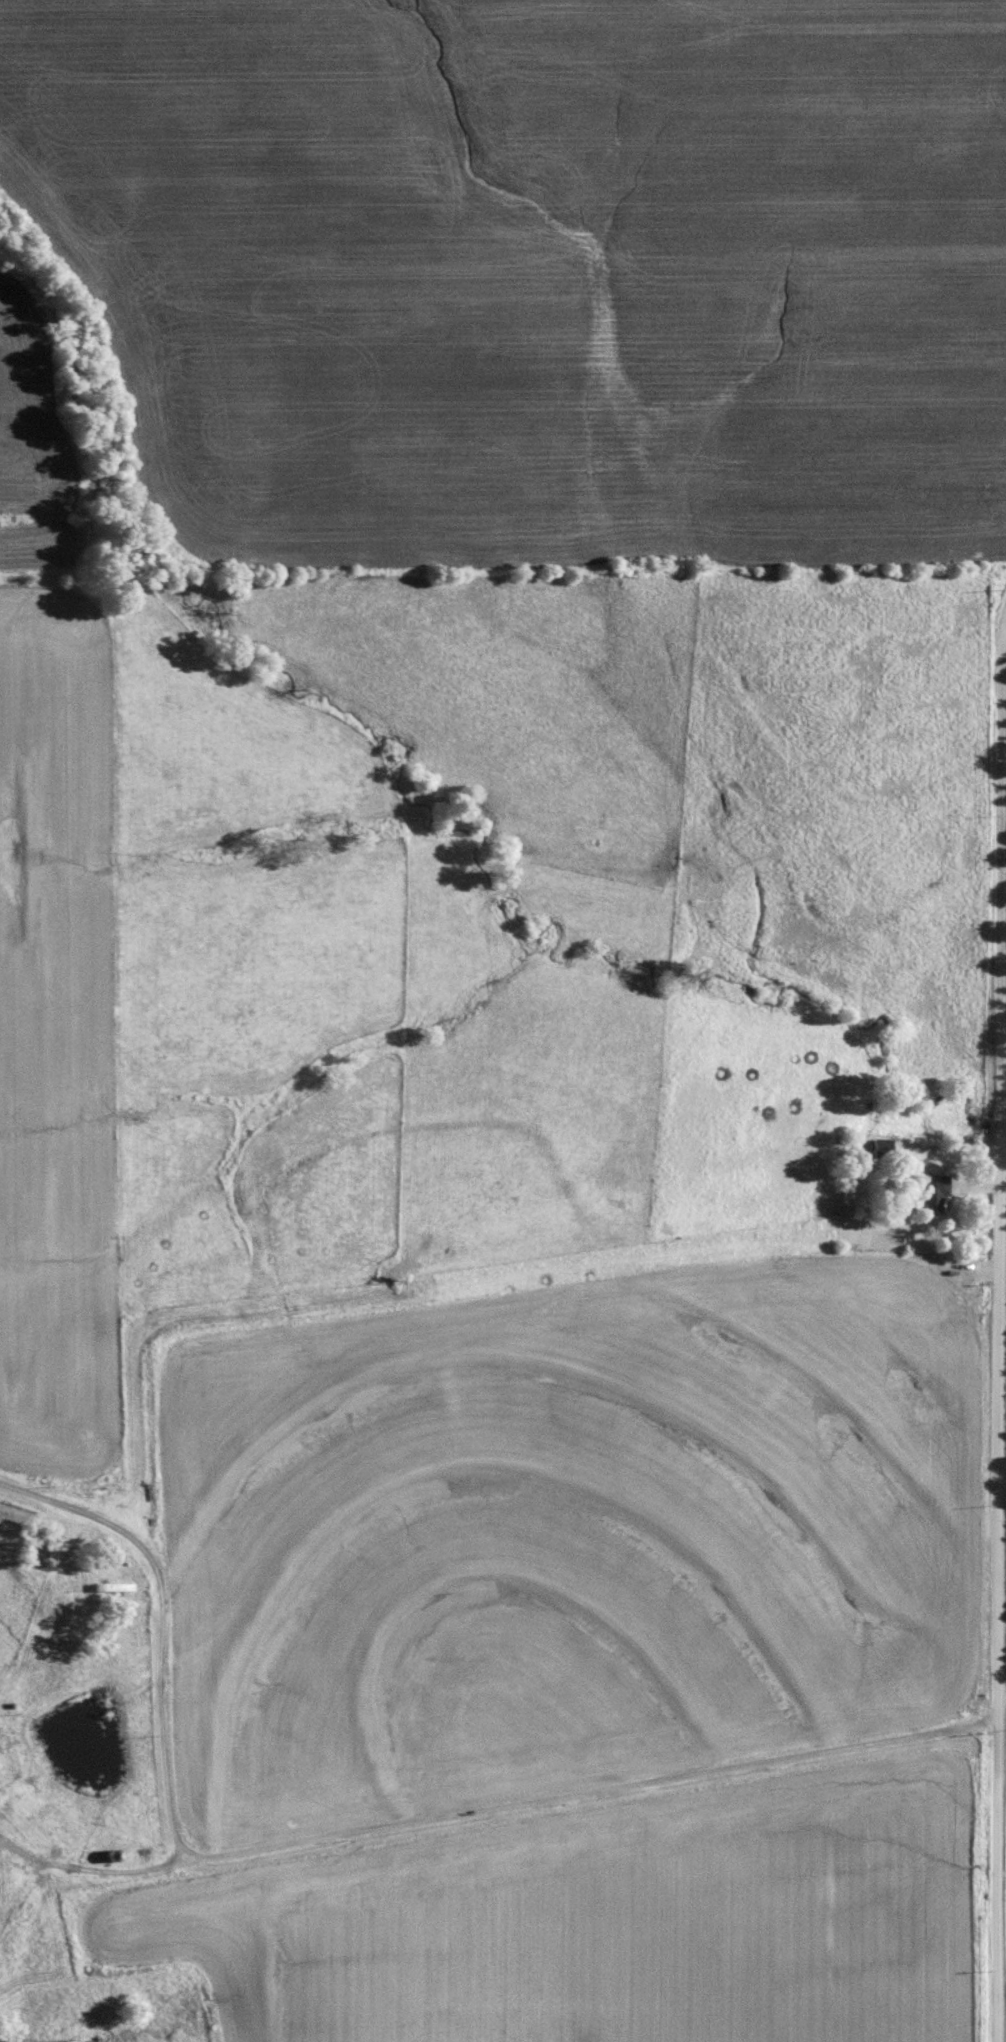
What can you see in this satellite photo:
road: (1002, 1329)
building: (112, 1586)
road: (489, 1810)

